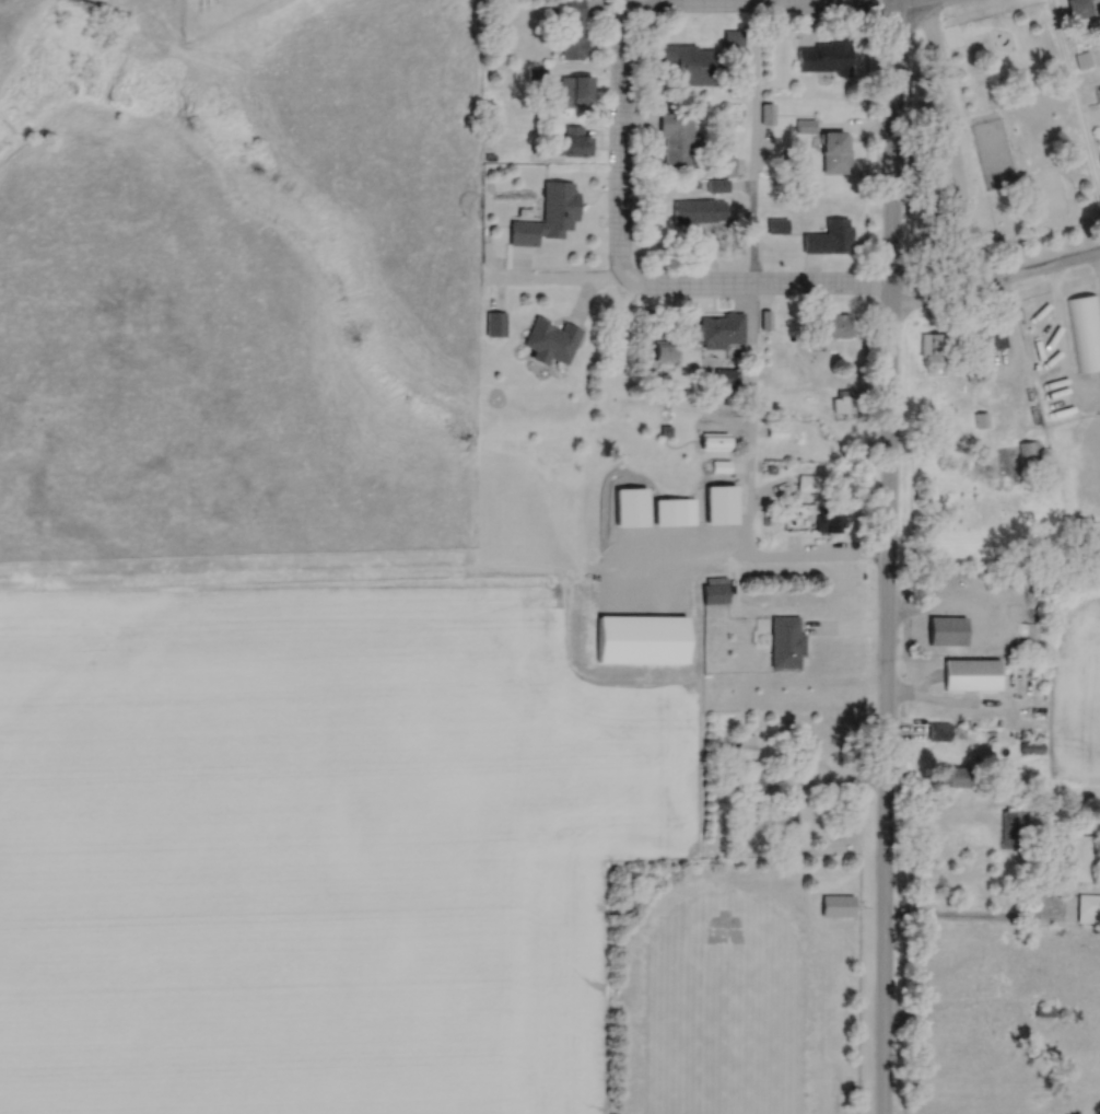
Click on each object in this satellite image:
road: (827, 0)
building: (1079, 8)
building: (573, 30)
building: (732, 38)
building: (1083, 59)
building: (827, 61)
building: (692, 63)
building: (569, 92)
road: (617, 139)
building: (676, 139)
building: (573, 141)
road: (754, 141)
road: (944, 148)
building: (992, 150)
building: (834, 152)
building: (836, 190)
building: (698, 210)
building: (548, 214)
building: (775, 225)
building: (827, 236)
road: (753, 281)
road: (997, 289)
building: (494, 323)
building: (831, 325)
building: (716, 328)
building: (1086, 330)
building: (991, 333)
road: (1052, 338)
building: (550, 339)
building: (931, 349)
building: (664, 352)
building: (1029, 452)
building: (718, 466)
building: (719, 504)
building: (629, 507)
building: (672, 511)
road: (770, 556)
road: (886, 556)
building: (946, 630)
building: (785, 642)
building: (970, 673)
crop: (1077, 683)
building: (953, 776)
building: (783, 824)
building: (1013, 829)
building: (1076, 859)
building: (836, 905)
road: (978, 920)
building: (968, 1023)

